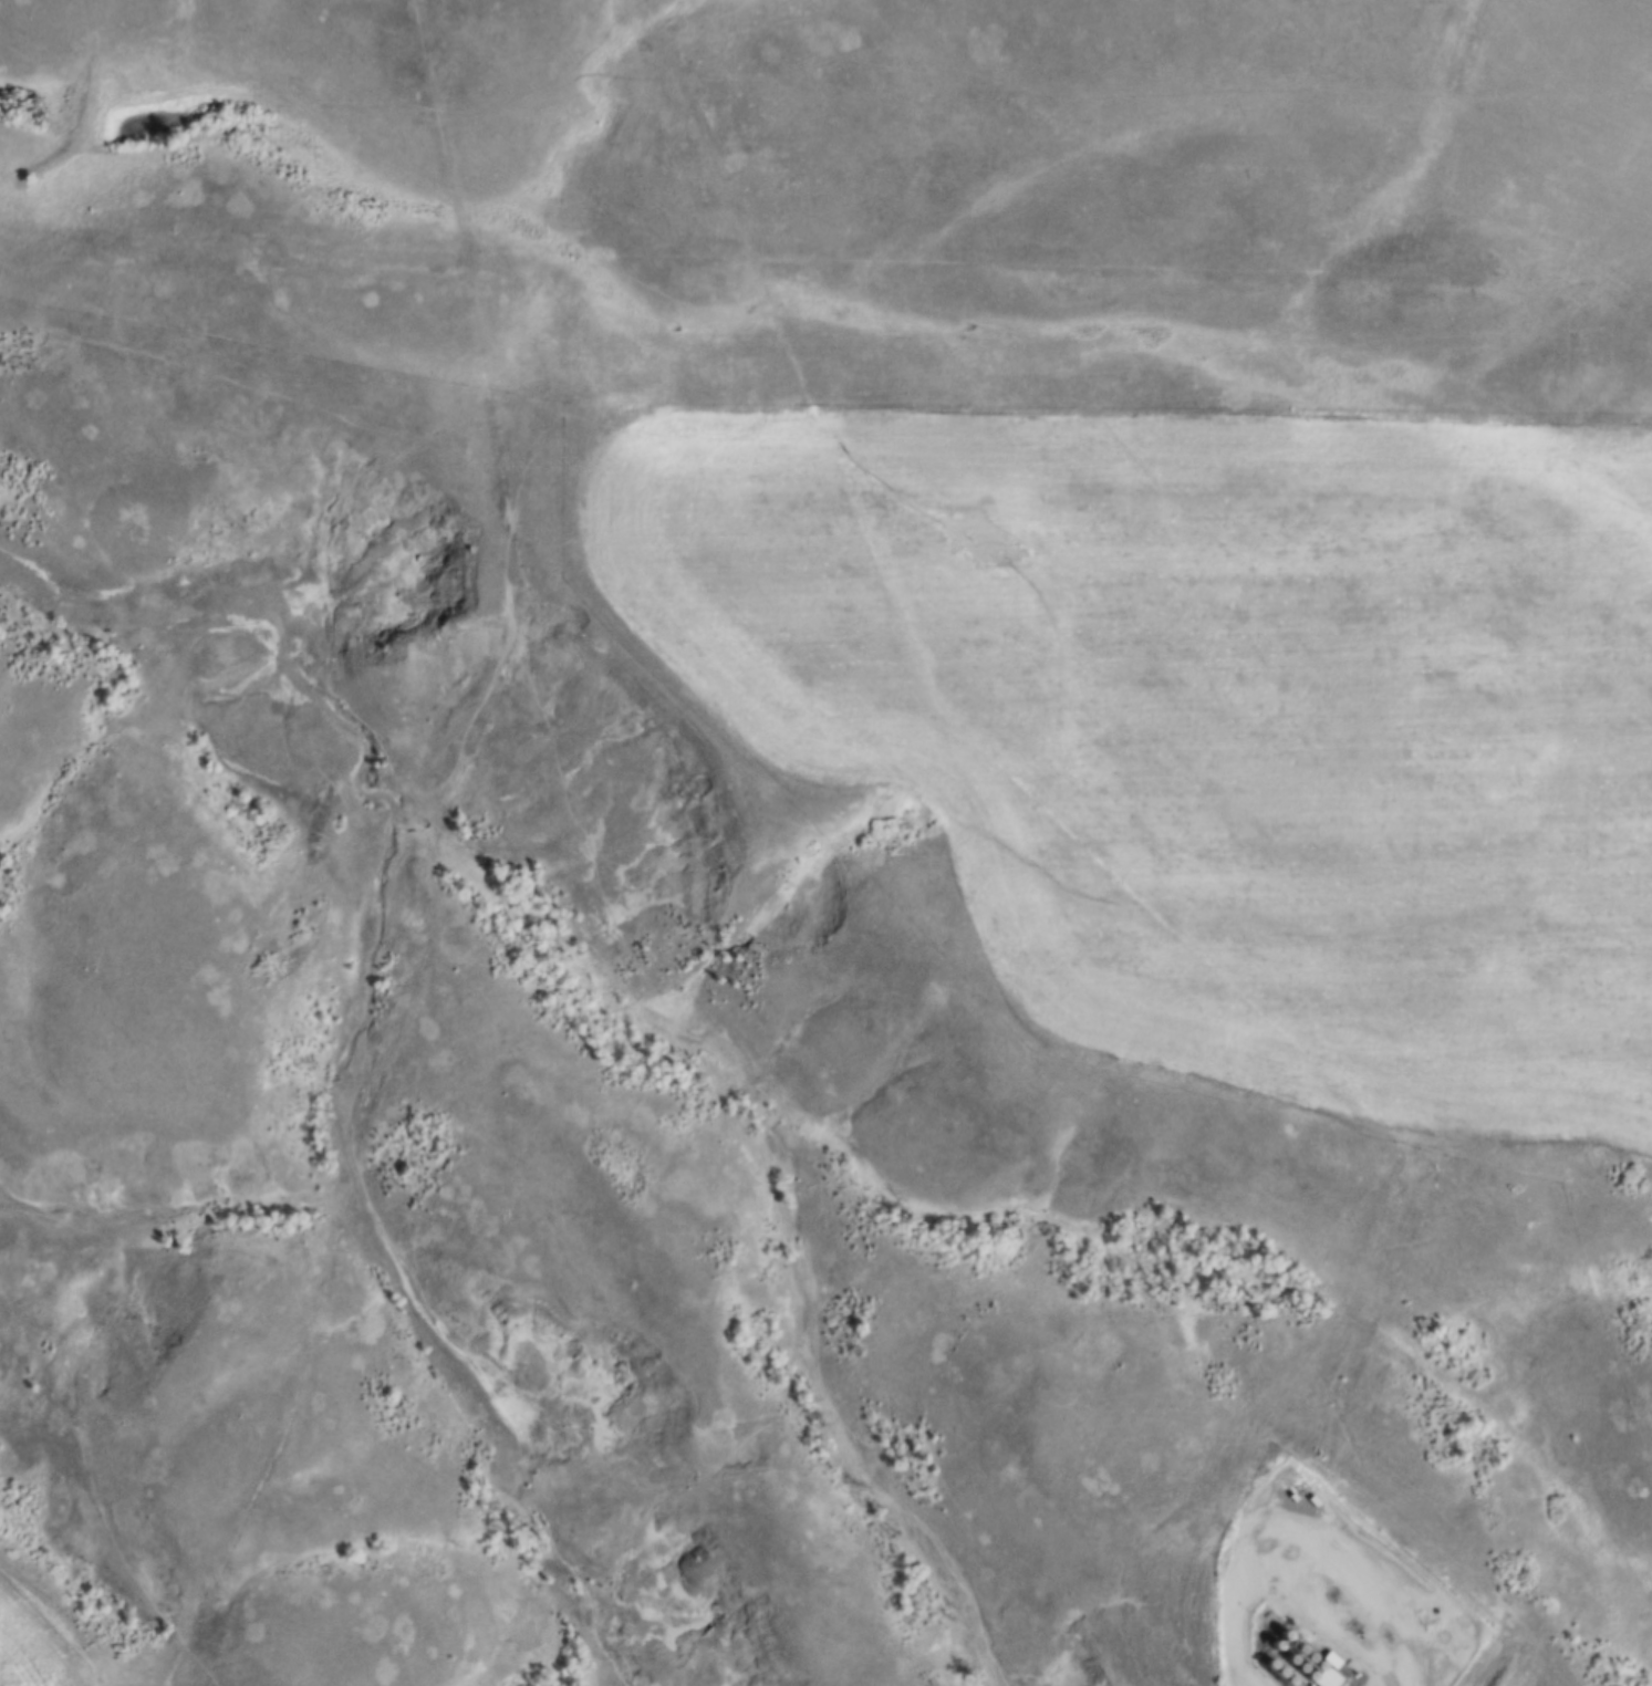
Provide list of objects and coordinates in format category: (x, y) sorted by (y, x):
road: (1280, 1584)
building: (1275, 1631)
building: (1333, 1648)

